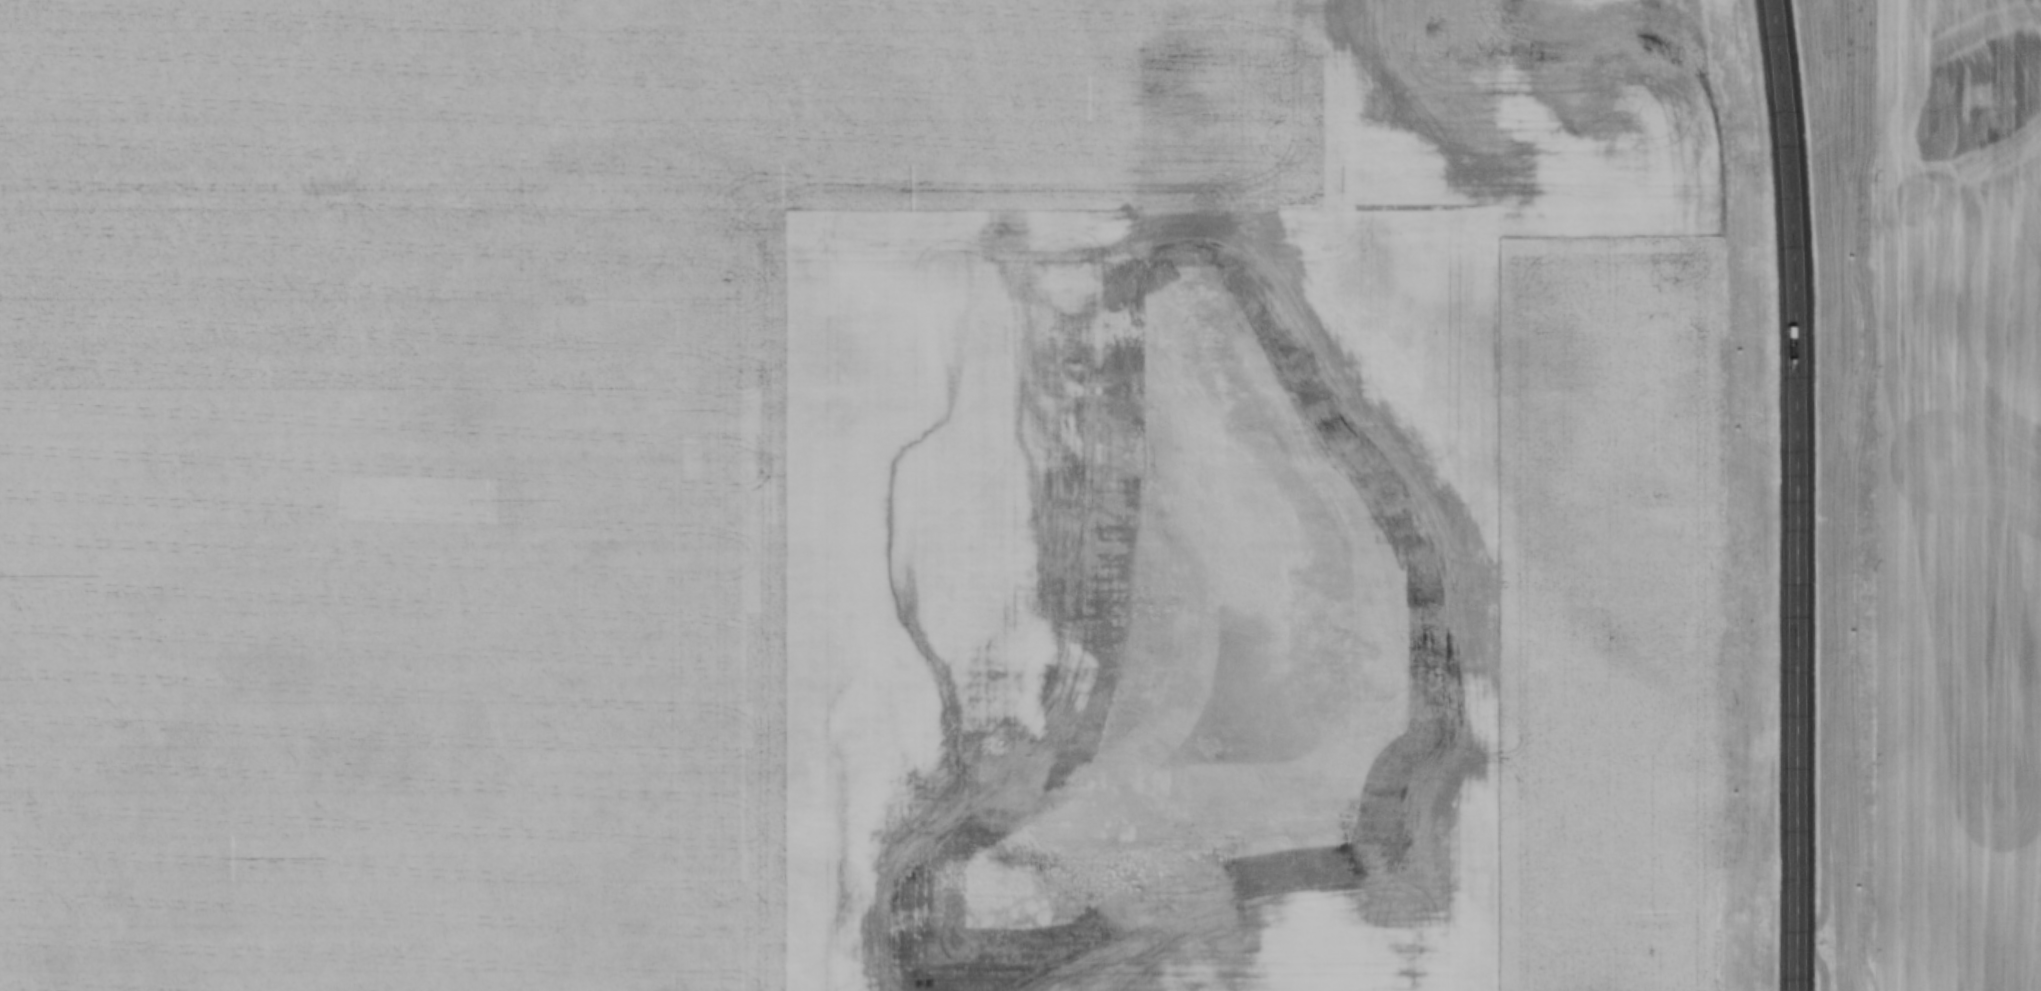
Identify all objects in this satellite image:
road: (1800, 495)

